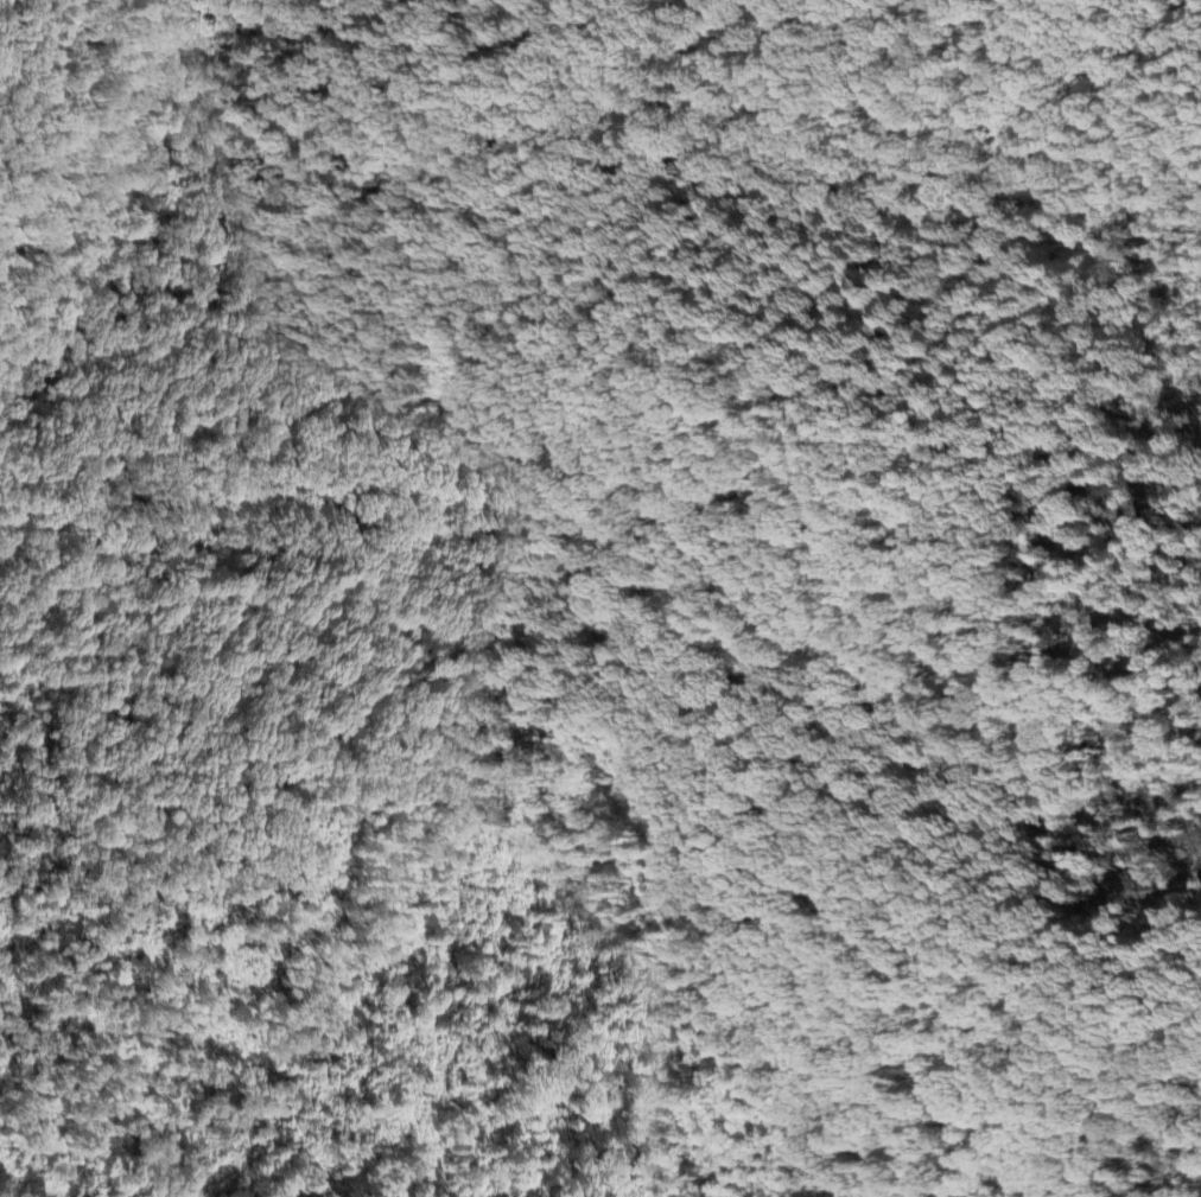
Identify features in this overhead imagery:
road: (4, 9)
road: (210, 125)
road: (330, 609)

